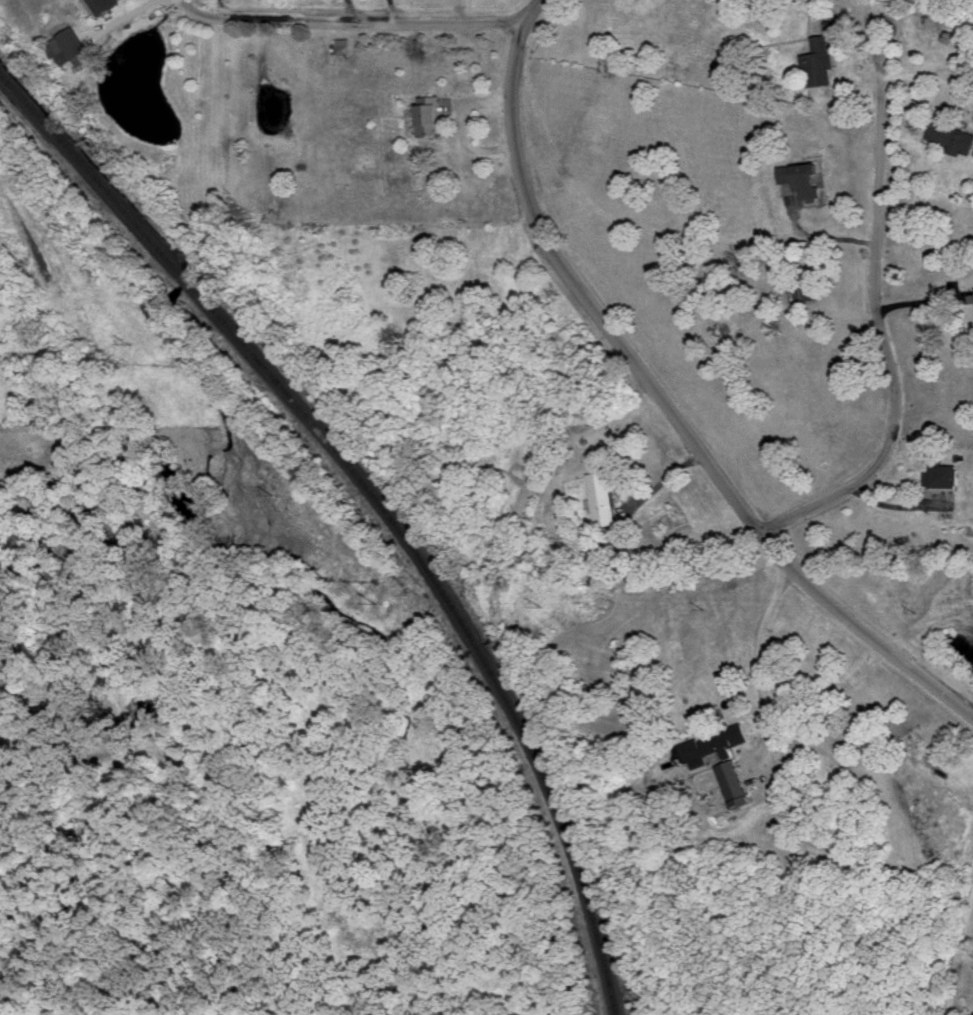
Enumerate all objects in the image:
road: (461, 12)
road: (123, 19)
road: (347, 24)
building: (344, 45)
building: (70, 47)
building: (820, 60)
road: (882, 61)
road: (929, 79)
building: (431, 114)
building: (954, 137)
building: (803, 177)
road: (822, 237)
building: (806, 289)
road: (924, 309)
railway: (213, 311)
road: (881, 337)
road: (660, 399)
building: (945, 472)
building: (927, 478)
road: (660, 482)
building: (602, 497)
road: (895, 507)
road: (766, 687)
building: (716, 743)
railway: (540, 775)
building: (732, 782)
road: (955, 949)

